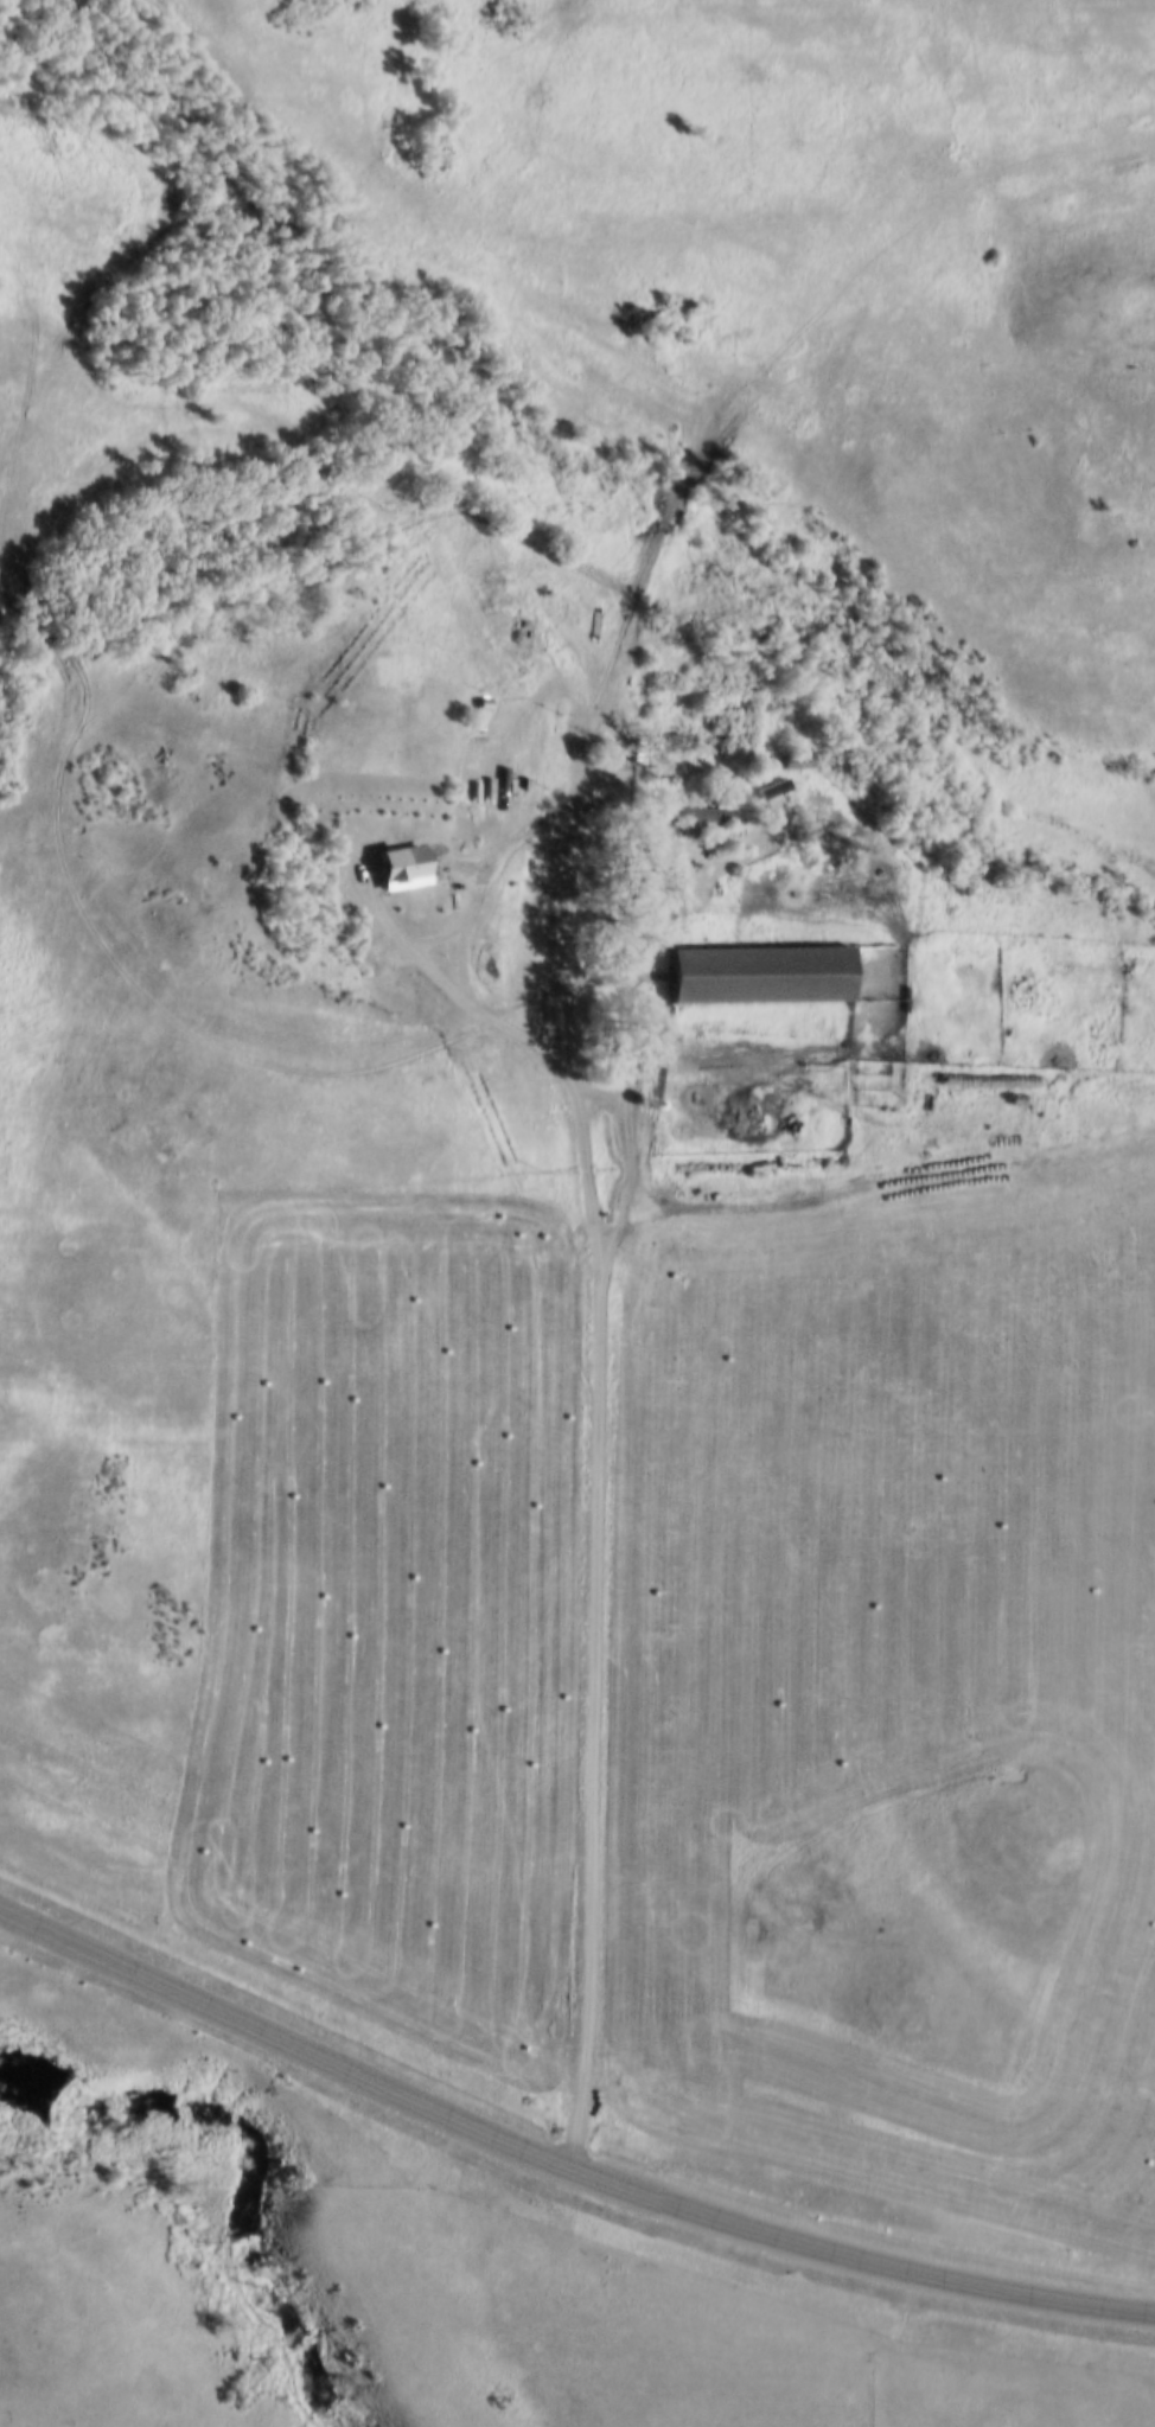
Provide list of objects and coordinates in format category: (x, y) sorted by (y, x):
building: (497, 580)
building: (518, 633)
road: (55, 747)
building: (698, 815)
building: (395, 866)
building: (751, 973)
road: (639, 1058)
road: (850, 1145)
road: (592, 1467)
road: (557, 2169)

